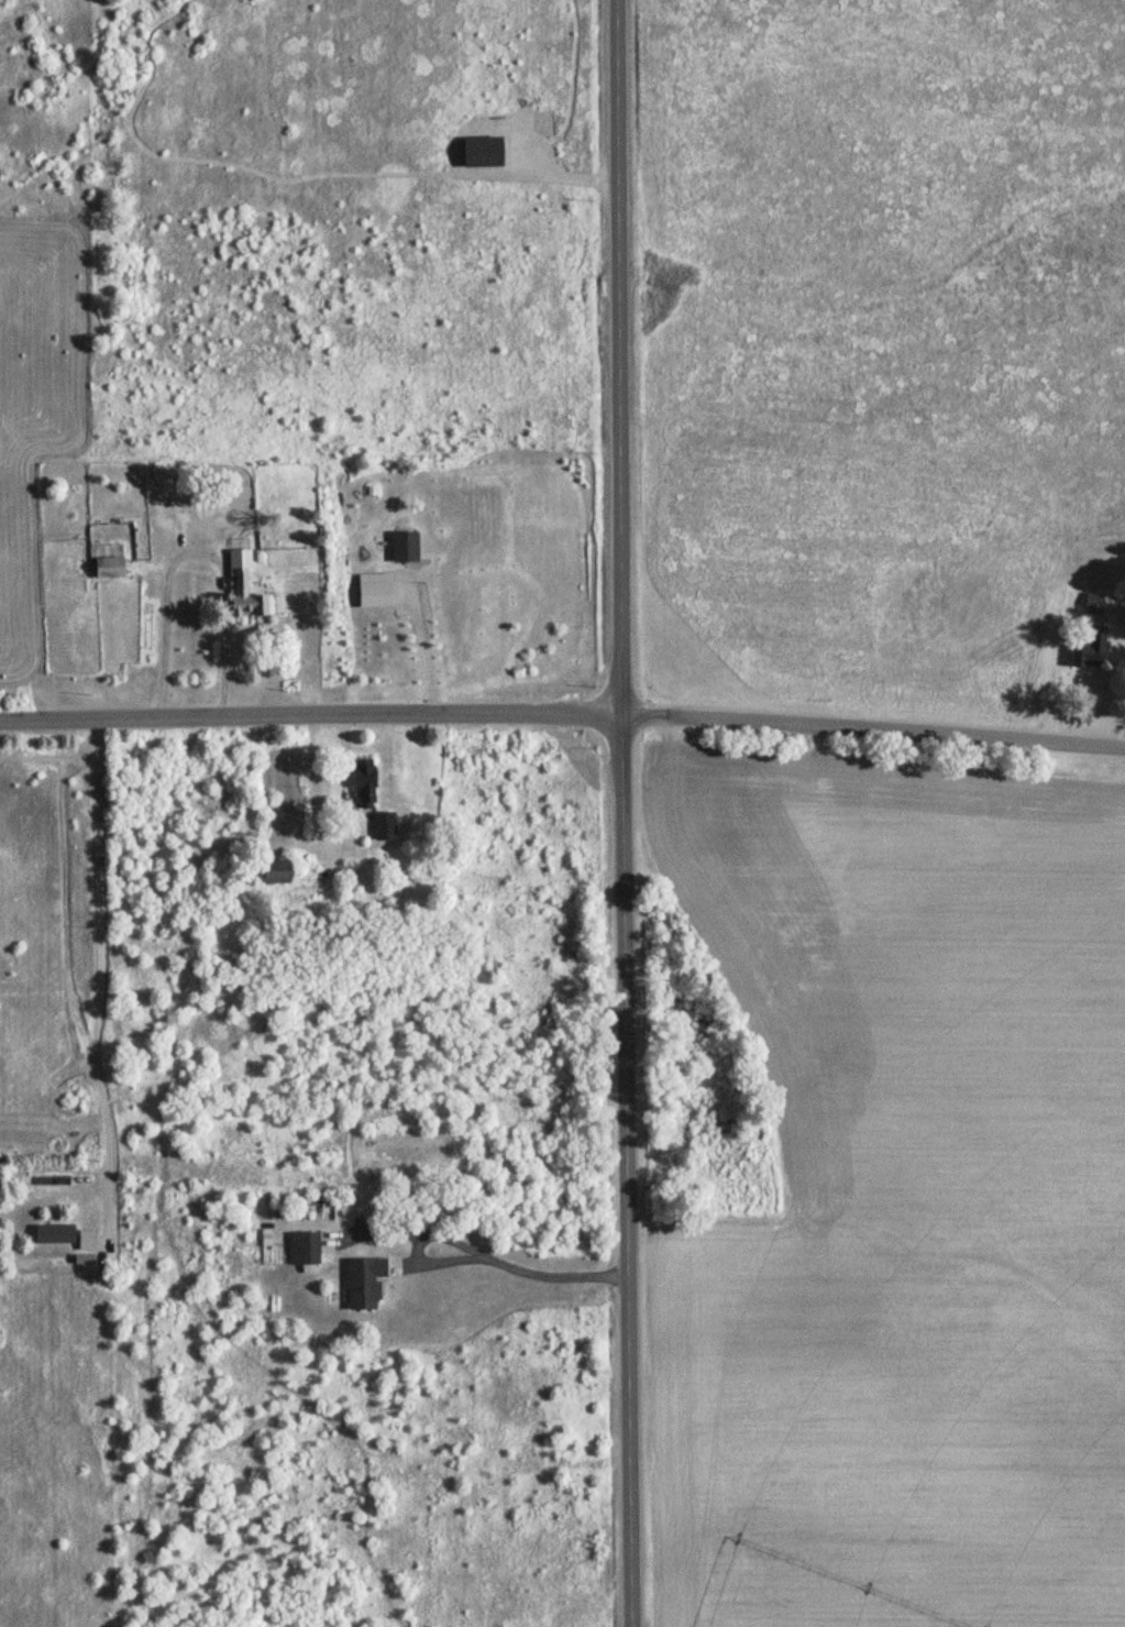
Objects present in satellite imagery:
building: (486, 149)
road: (618, 358)
building: (401, 548)
building: (104, 569)
building: (241, 590)
building: (1092, 604)
road: (419, 644)
building: (1092, 649)
road: (310, 717)
road: (873, 734)
building: (360, 785)
building: (382, 827)
building: (265, 878)
road: (100, 976)
road: (627, 1172)
building: (52, 1235)
building: (302, 1250)
road: (509, 1262)
building: (362, 1284)

